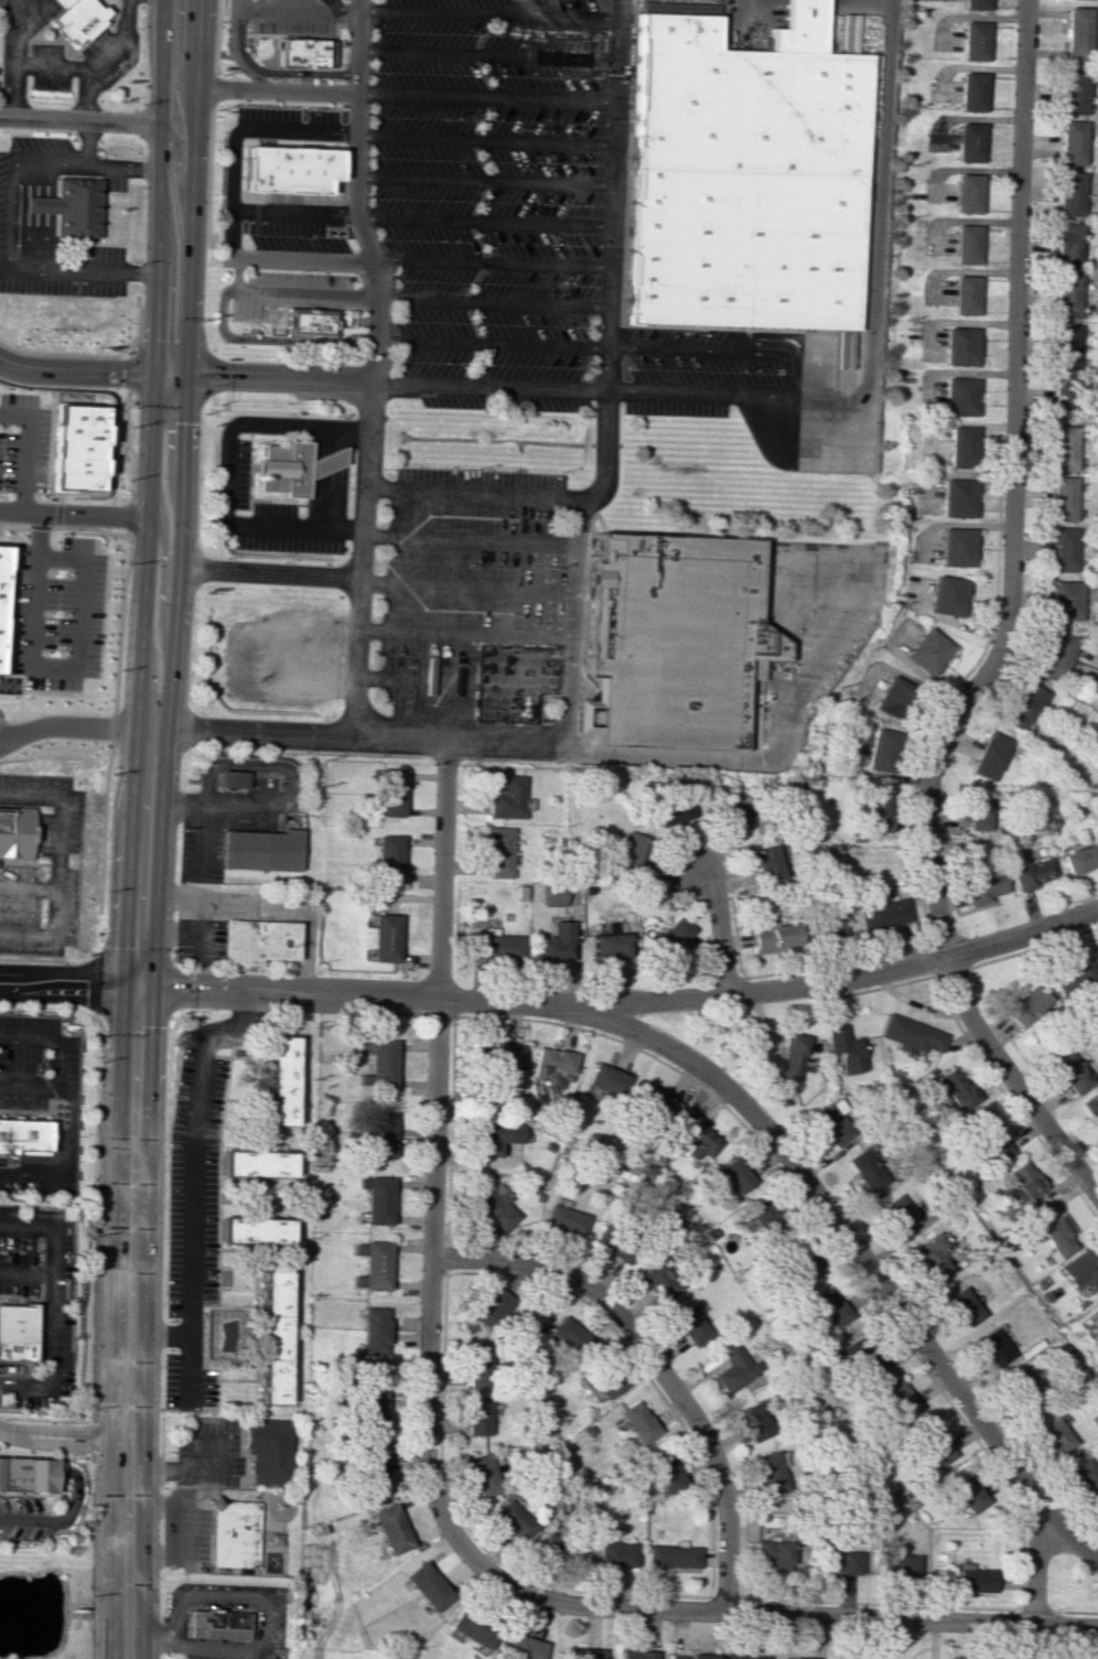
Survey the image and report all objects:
road: (258, 4)
building: (971, 4)
building: (695, 9)
road: (298, 10)
road: (486, 13)
building: (76, 18)
parking lot: (292, 19)
building: (1074, 33)
road: (300, 35)
building: (970, 41)
road: (235, 52)
building: (304, 52)
road: (485, 54)
road: (273, 72)
road: (276, 89)
building: (969, 91)
building: (1073, 91)
road: (484, 98)
parking lot: (266, 112)
street lamp: (302, 114)
parking lot: (321, 114)
road: (80, 119)
road: (209, 122)
street lamp: (222, 132)
road: (484, 138)
parking lot: (37, 142)
building: (968, 142)
building: (1072, 142)
road: (123, 165)
building: (288, 169)
parking lot: (1, 177)
road: (176, 177)
building: (744, 179)
road: (483, 180)
building: (967, 193)
building: (1069, 193)
street lamp: (218, 198)
parking lot: (491, 198)
road: (229, 204)
building: (68, 206)
road: (292, 212)
road: (21, 214)
road: (30, 215)
road: (39, 215)
road: (49, 215)
road: (482, 222)
road: (8, 230)
road: (873, 231)
parking lot: (291, 236)
street lamp: (298, 236)
building: (966, 244)
building: (1068, 244)
parking lot: (99, 252)
road: (491, 263)
street lamp: (299, 271)
street lamp: (356, 274)
parking lot: (61, 286)
road: (289, 293)
building: (965, 294)
building: (1067, 294)
road: (492, 301)
building: (310, 322)
road: (270, 340)
road: (489, 342)
street lamp: (11, 345)
building: (961, 345)
building: (1066, 345)
street lamp: (125, 352)
road: (86, 355)
road: (153, 365)
road: (185, 366)
road: (370, 367)
road: (91, 369)
road: (797, 369)
parking lot: (698, 370)
traffic signals: (153, 373)
traffic signals: (185, 374)
road: (278, 377)
road: (488, 385)
building: (960, 396)
road: (74, 402)
road: (126, 439)
parking lot: (22, 443)
building: (76, 446)
building: (961, 446)
building: (1065, 448)
road: (22, 451)
building: (291, 466)
road: (229, 475)
road: (326, 477)
street lamp: (130, 478)
road: (252, 492)
road: (471, 493)
building: (958, 498)
building: (1063, 498)
road: (252, 507)
road: (73, 514)
road: (65, 526)
street lamp: (60, 534)
road: (469, 540)
building: (957, 547)
building: (1063, 549)
building: (1, 564)
street lamp: (127, 564)
road: (269, 570)
road: (572, 574)
road: (160, 584)
road: (466, 586)
building: (948, 595)
parking lot: (465, 596)
building: (1065, 600)
parking lot: (26, 613)
street lamp: (56, 613)
building: (1, 621)
road: (1005, 633)
road: (464, 636)
building: (669, 638)
road: (6, 645)
building: (928, 650)
building: (1056, 656)
road: (58, 667)
road: (462, 682)
building: (892, 696)
building: (1024, 705)
road: (73, 724)
road: (114, 724)
road: (0, 744)
street lamp: (30, 744)
building: (881, 750)
building: (989, 755)
road: (758, 758)
building: (229, 782)
building: (390, 791)
building: (509, 799)
street lamp: (45, 809)
building: (674, 810)
building: (733, 812)
building: (977, 812)
building: (876, 814)
building: (15, 831)
building: (260, 849)
building: (629, 851)
building: (499, 852)
building: (389, 859)
building: (1081, 859)
parking lot: (58, 862)
road: (61, 863)
building: (765, 863)
building: (1033, 873)
building: (983, 886)
road: (30, 887)
building: (552, 895)
street lamp: (44, 912)
building: (884, 913)
building: (827, 926)
road: (718, 931)
building: (670, 933)
building: (774, 936)
building: (386, 937)
building: (258, 941)
building: (556, 942)
building: (610, 945)
building: (498, 946)
road: (33, 959)
building: (1077, 977)
road: (69, 984)
traffic signals: (140, 987)
road: (624, 1002)
building: (1025, 1005)
street lamp: (13, 1012)
building: (911, 1034)
road: (52, 1041)
building: (843, 1048)
building: (790, 1054)
building: (503, 1056)
building: (380, 1060)
parking lot: (36, 1062)
street lamp: (46, 1063)
building: (552, 1063)
building: (1072, 1070)
building: (605, 1078)
building: (281, 1080)
building: (956, 1088)
building: (657, 1100)
building: (1091, 1106)
building: (830, 1123)
road: (73, 1131)
building: (24, 1134)
building: (381, 1134)
street lamp: (79, 1136)
building: (496, 1138)
building: (990, 1138)
building: (697, 1139)
road: (42, 1161)
building: (257, 1163)
building: (864, 1170)
building: (733, 1175)
road: (192, 1178)
building: (1025, 1179)
parking lot: (39, 1187)
road: (133, 1193)
street lamp: (41, 1198)
building: (377, 1199)
building: (497, 1207)
building: (896, 1214)
building: (764, 1218)
building: (564, 1219)
building: (255, 1230)
building: (1057, 1237)
road: (855, 1252)
building: (928, 1256)
building: (797, 1263)
building: (373, 1264)
building: (1081, 1270)
road: (25, 1272)
building: (658, 1280)
road: (50, 1304)
building: (827, 1306)
building: (962, 1306)
building: (492, 1307)
building: (690, 1326)
building: (375, 1331)
building: (15, 1332)
building: (568, 1334)
building: (273, 1337)
building: (991, 1347)
building: (862, 1354)
road: (654, 1362)
building: (733, 1368)
building: (478, 1370)
building: (607, 1382)
building: (1024, 1392)
building: (896, 1398)
building: (374, 1399)
street lamp: (1, 1419)
building: (477, 1419)
building: (754, 1421)
building: (638, 1422)
street lamp: (61, 1423)
road: (67, 1430)
building: (1054, 1435)
road: (65, 1443)
building: (932, 1445)
building: (266, 1450)
building: (374, 1463)
road: (30, 1466)
road: (175, 1467)
building: (768, 1473)
building: (26, 1474)
building: (483, 1474)
building: (666, 1474)
road: (428, 1475)
building: (1084, 1476)
street lamp: (80, 1480)
building: (965, 1494)
road: (62, 1519)
building: (513, 1519)
street lamp: (69, 1523)
building: (391, 1529)
road: (173, 1532)
building: (232, 1533)
street lamp: (3, 1542)
street lamp: (31, 1543)
building: (616, 1553)
building: (774, 1553)
building: (674, 1555)
building: (838, 1560)
building: (896, 1565)
road: (1034, 1572)
building: (970, 1579)
building: (429, 1585)
road: (266, 1606)
building: (215, 1623)
building: (474, 1630)
road: (148, 1637)
building: (524, 1648)
building: (583, 1653)
building: (635, 1655)
building: (690, 1656)
building: (743, 1656)
building: (792, 1658)

